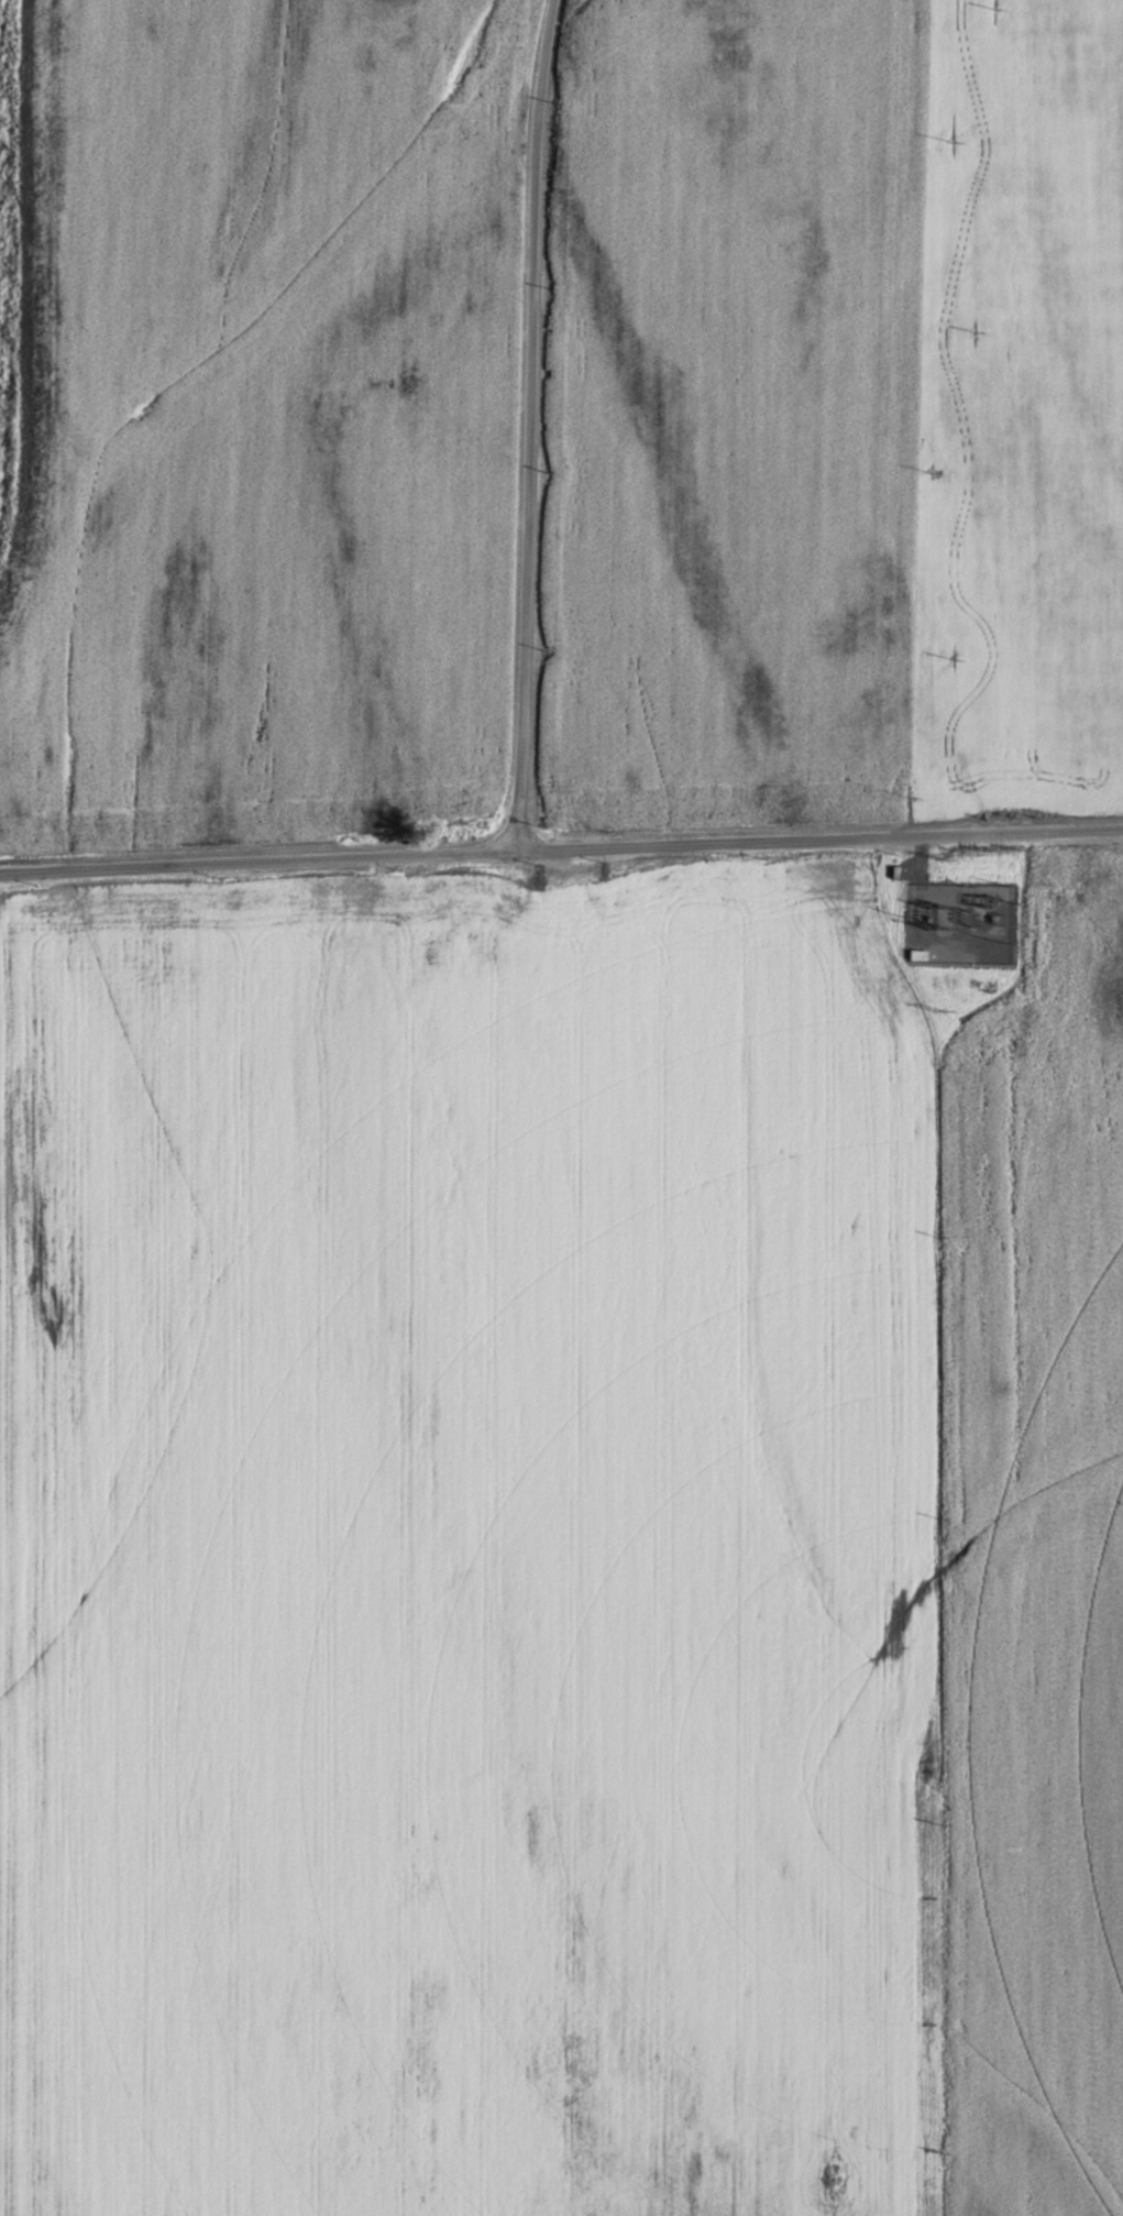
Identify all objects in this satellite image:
road: (536, 421)
road: (561, 843)
park: (830, 2177)

